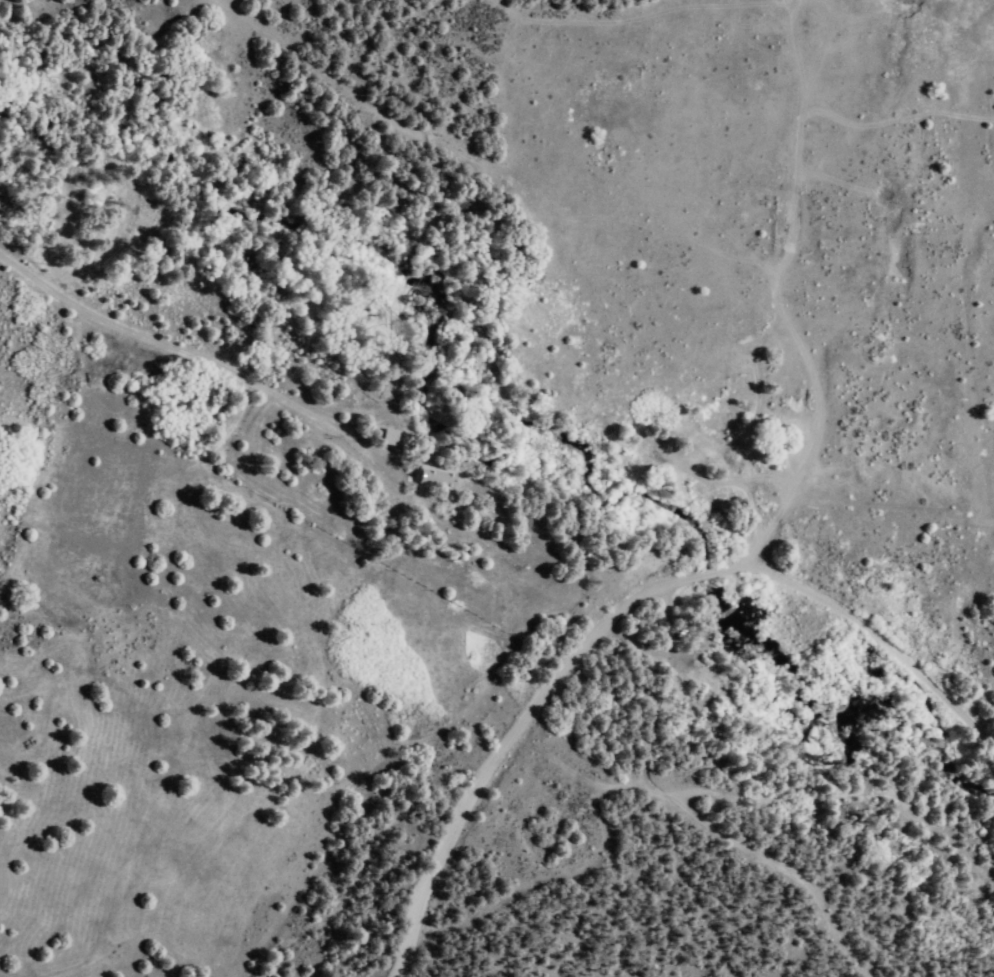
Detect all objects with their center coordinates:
road: (499, 11)
road: (321, 87)
road: (783, 289)
road: (312, 415)
building: (386, 436)
building: (433, 476)
road: (881, 641)
road: (528, 719)
road: (723, 832)

